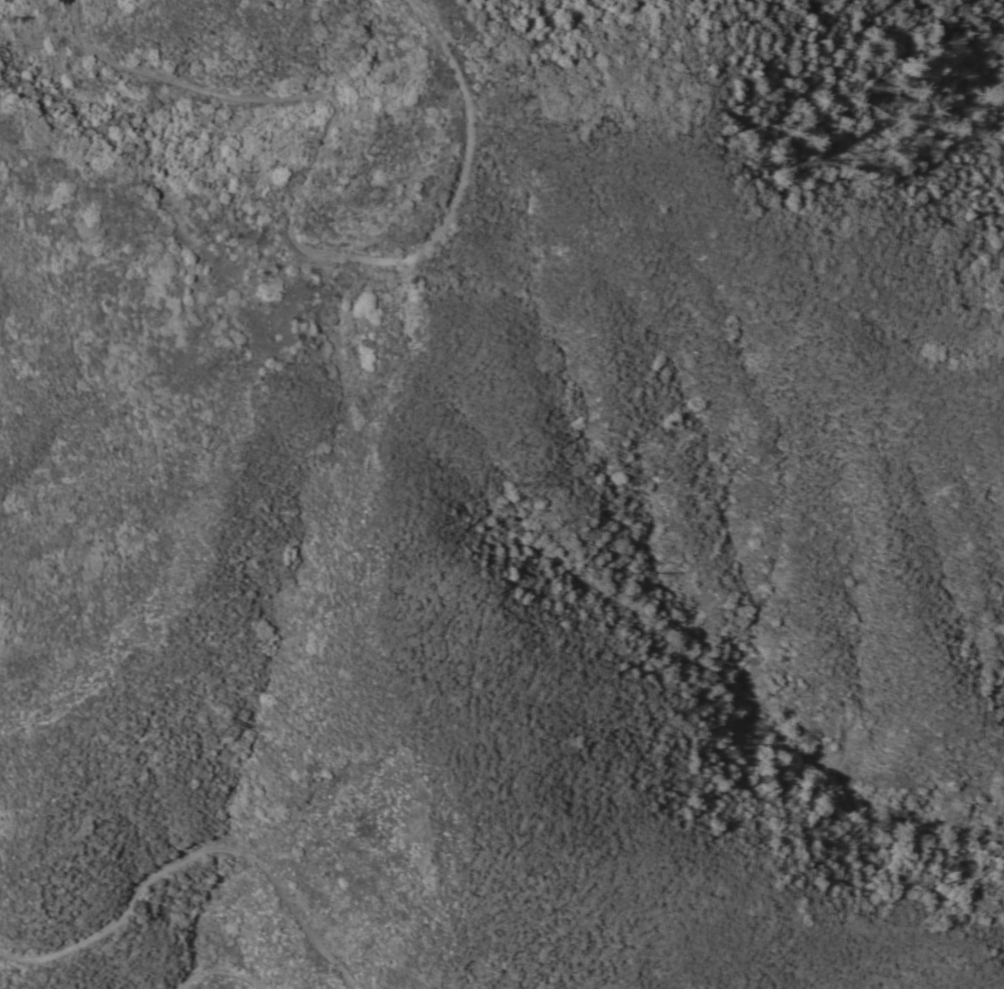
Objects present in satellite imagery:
road: (302, 191)
road: (201, 853)
road: (220, 966)

